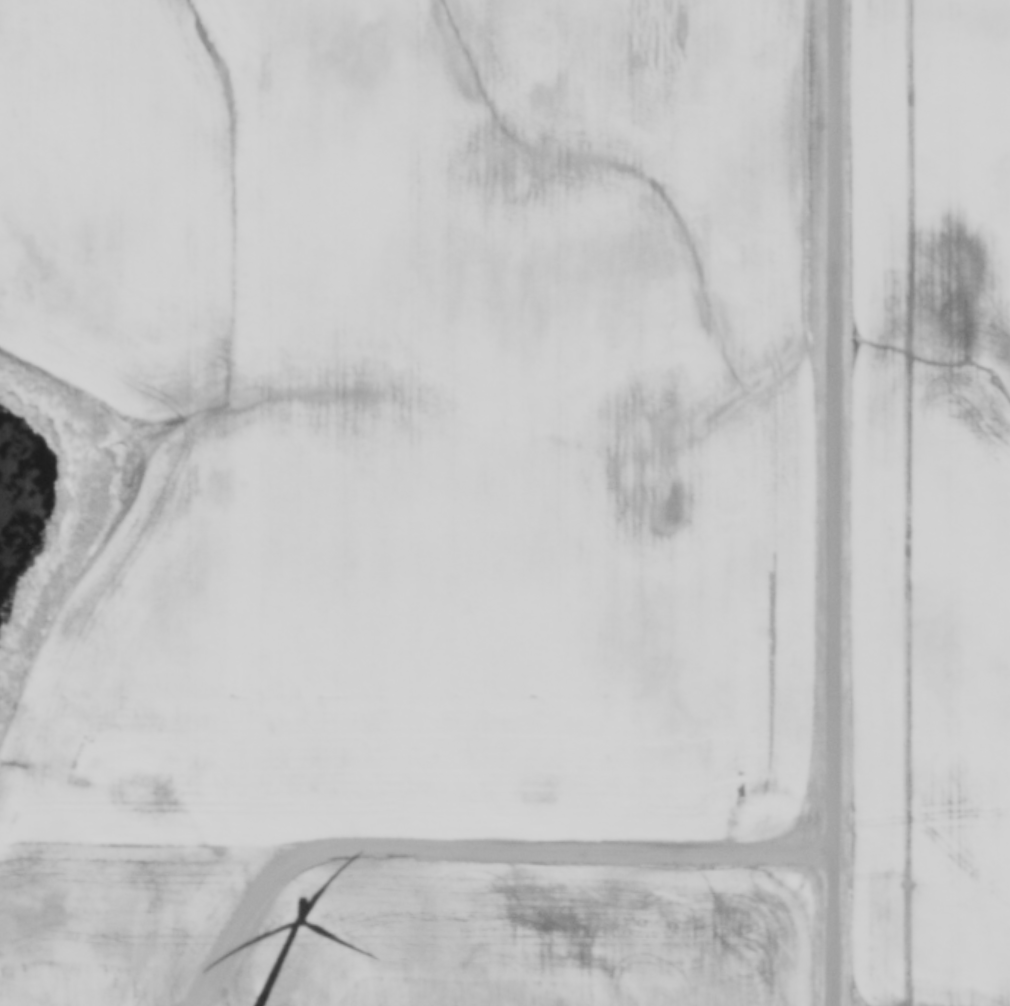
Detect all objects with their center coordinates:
road: (835, 503)

